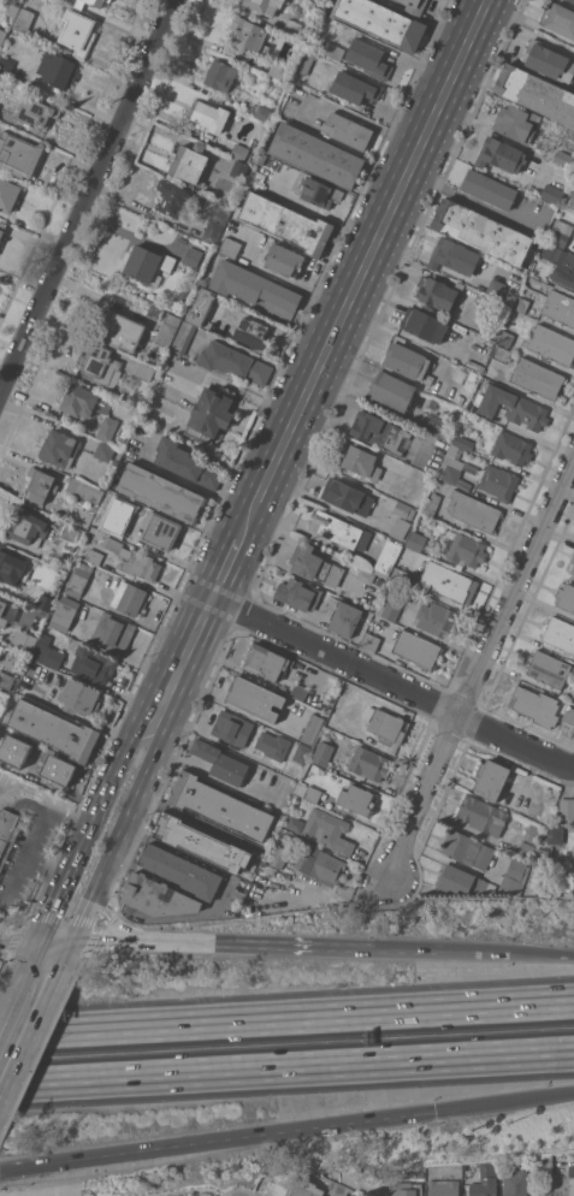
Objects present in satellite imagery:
building: (107, 0)
building: (282, 0)
building: (396, 0)
building: (572, 0)
building: (96, 4)
building: (262, 6)
building: (414, 6)
building: (13, 10)
building: (558, 18)
building: (24, 19)
building: (279, 22)
building: (381, 22)
building: (292, 26)
building: (78, 31)
building: (245, 34)
building: (2, 35)
building: (333, 51)
building: (368, 58)
building: (548, 60)
building: (307, 61)
building: (6, 65)
building: (57, 69)
building: (277, 70)
building: (221, 76)
building: (351, 87)
building: (535, 93)
building: (36, 112)
building: (264, 113)
building: (208, 114)
building: (516, 123)
building: (347, 130)
building: (239, 152)
building: (19, 154)
building: (318, 154)
building: (501, 154)
building: (563, 158)
building: (190, 164)
building: (236, 174)
building: (489, 189)
building: (316, 191)
building: (8, 194)
building: (552, 194)
building: (174, 199)
road: (467, 199)
road: (90, 200)
building: (570, 203)
building: (220, 211)
building: (286, 223)
building: (2, 227)
building: (212, 231)
building: (483, 231)
building: (560, 232)
building: (230, 247)
building: (454, 255)
building: (193, 256)
building: (284, 260)
building: (147, 264)
building: (560, 264)
road: (362, 266)
building: (252, 285)
building: (496, 289)
building: (184, 292)
building: (439, 292)
building: (521, 304)
building: (201, 307)
building: (560, 307)
building: (421, 325)
building: (120, 330)
building: (167, 330)
building: (253, 332)
building: (183, 337)
building: (505, 337)
building: (551, 344)
building: (502, 354)
building: (463, 359)
building: (233, 362)
building: (408, 362)
building: (100, 366)
building: (144, 371)
building: (460, 374)
building: (538, 378)
building: (390, 391)
building: (454, 397)
building: (84, 401)
building: (433, 402)
building: (509, 405)
building: (211, 413)
building: (438, 425)
building: (106, 428)
building: (378, 432)
building: (513, 448)
building: (59, 449)
building: (103, 451)
building: (360, 461)
building: (455, 462)
building: (187, 463)
building: (469, 467)
building: (498, 481)
building: (40, 485)
building: (85, 490)
building: (161, 492)
building: (347, 496)
building: (432, 503)
building: (403, 509)
building: (111, 510)
building: (474, 511)
building: (398, 527)
building: (28, 528)
building: (339, 529)
building: (160, 531)
building: (70, 533)
building: (416, 540)
building: (467, 550)
building: (94, 556)
building: (386, 558)
building: (134, 559)
building: (314, 564)
building: (572, 564)
building: (13, 567)
road: (225, 567)
building: (365, 575)
building: (400, 575)
building: (78, 579)
building: (445, 581)
building: (297, 593)
building: (566, 597)
building: (129, 598)
building: (45, 602)
building: (391, 605)
building: (1, 609)
building: (64, 612)
building: (344, 618)
building: (437, 618)
building: (113, 632)
building: (558, 634)
building: (23, 640)
building: (369, 641)
building: (0, 645)
building: (416, 649)
building: (47, 652)
building: (266, 662)
building: (93, 664)
building: (549, 669)
road: (479, 673)
building: (6, 680)
road: (391, 685)
building: (298, 691)
building: (79, 697)
building: (254, 698)
building: (535, 705)
building: (569, 716)
road: (154, 722)
building: (389, 726)
building: (232, 727)
building: (54, 729)
building: (312, 729)
road: (113, 730)
building: (273, 745)
building: (302, 752)
building: (322, 753)
building: (220, 762)
building: (13, 763)
building: (369, 763)
building: (49, 765)
building: (492, 777)
building: (312, 793)
building: (357, 799)
building: (220, 806)
building: (567, 807)
building: (483, 815)
building: (11, 829)
building: (327, 829)
road: (37, 833)
building: (532, 833)
building: (555, 834)
building: (201, 842)
building: (466, 848)
building: (526, 849)
building: (543, 854)
building: (278, 857)
road: (91, 863)
building: (319, 864)
road: (17, 876)
building: (515, 876)
building: (195, 878)
building: (462, 881)
road: (69, 911)
road: (102, 918)
road: (99, 940)
traffic signals: (55, 941)
road: (28, 942)
road: (256, 943)
road: (401, 949)
road: (471, 952)
road: (543, 953)
road: (48, 955)
road: (20, 1017)
road: (286, 1017)
road: (286, 1067)
road: (503, 1101)
traffic signals: (433, 1112)
road: (217, 1144)
building: (545, 1164)
building: (416, 1173)
building: (572, 1179)
building: (486, 1180)
building: (515, 1183)
building: (264, 1185)
building: (303, 1188)
building: (338, 1188)
building: (444, 1188)
building: (406, 1189)
road: (183, 1191)
building: (349, 1195)

